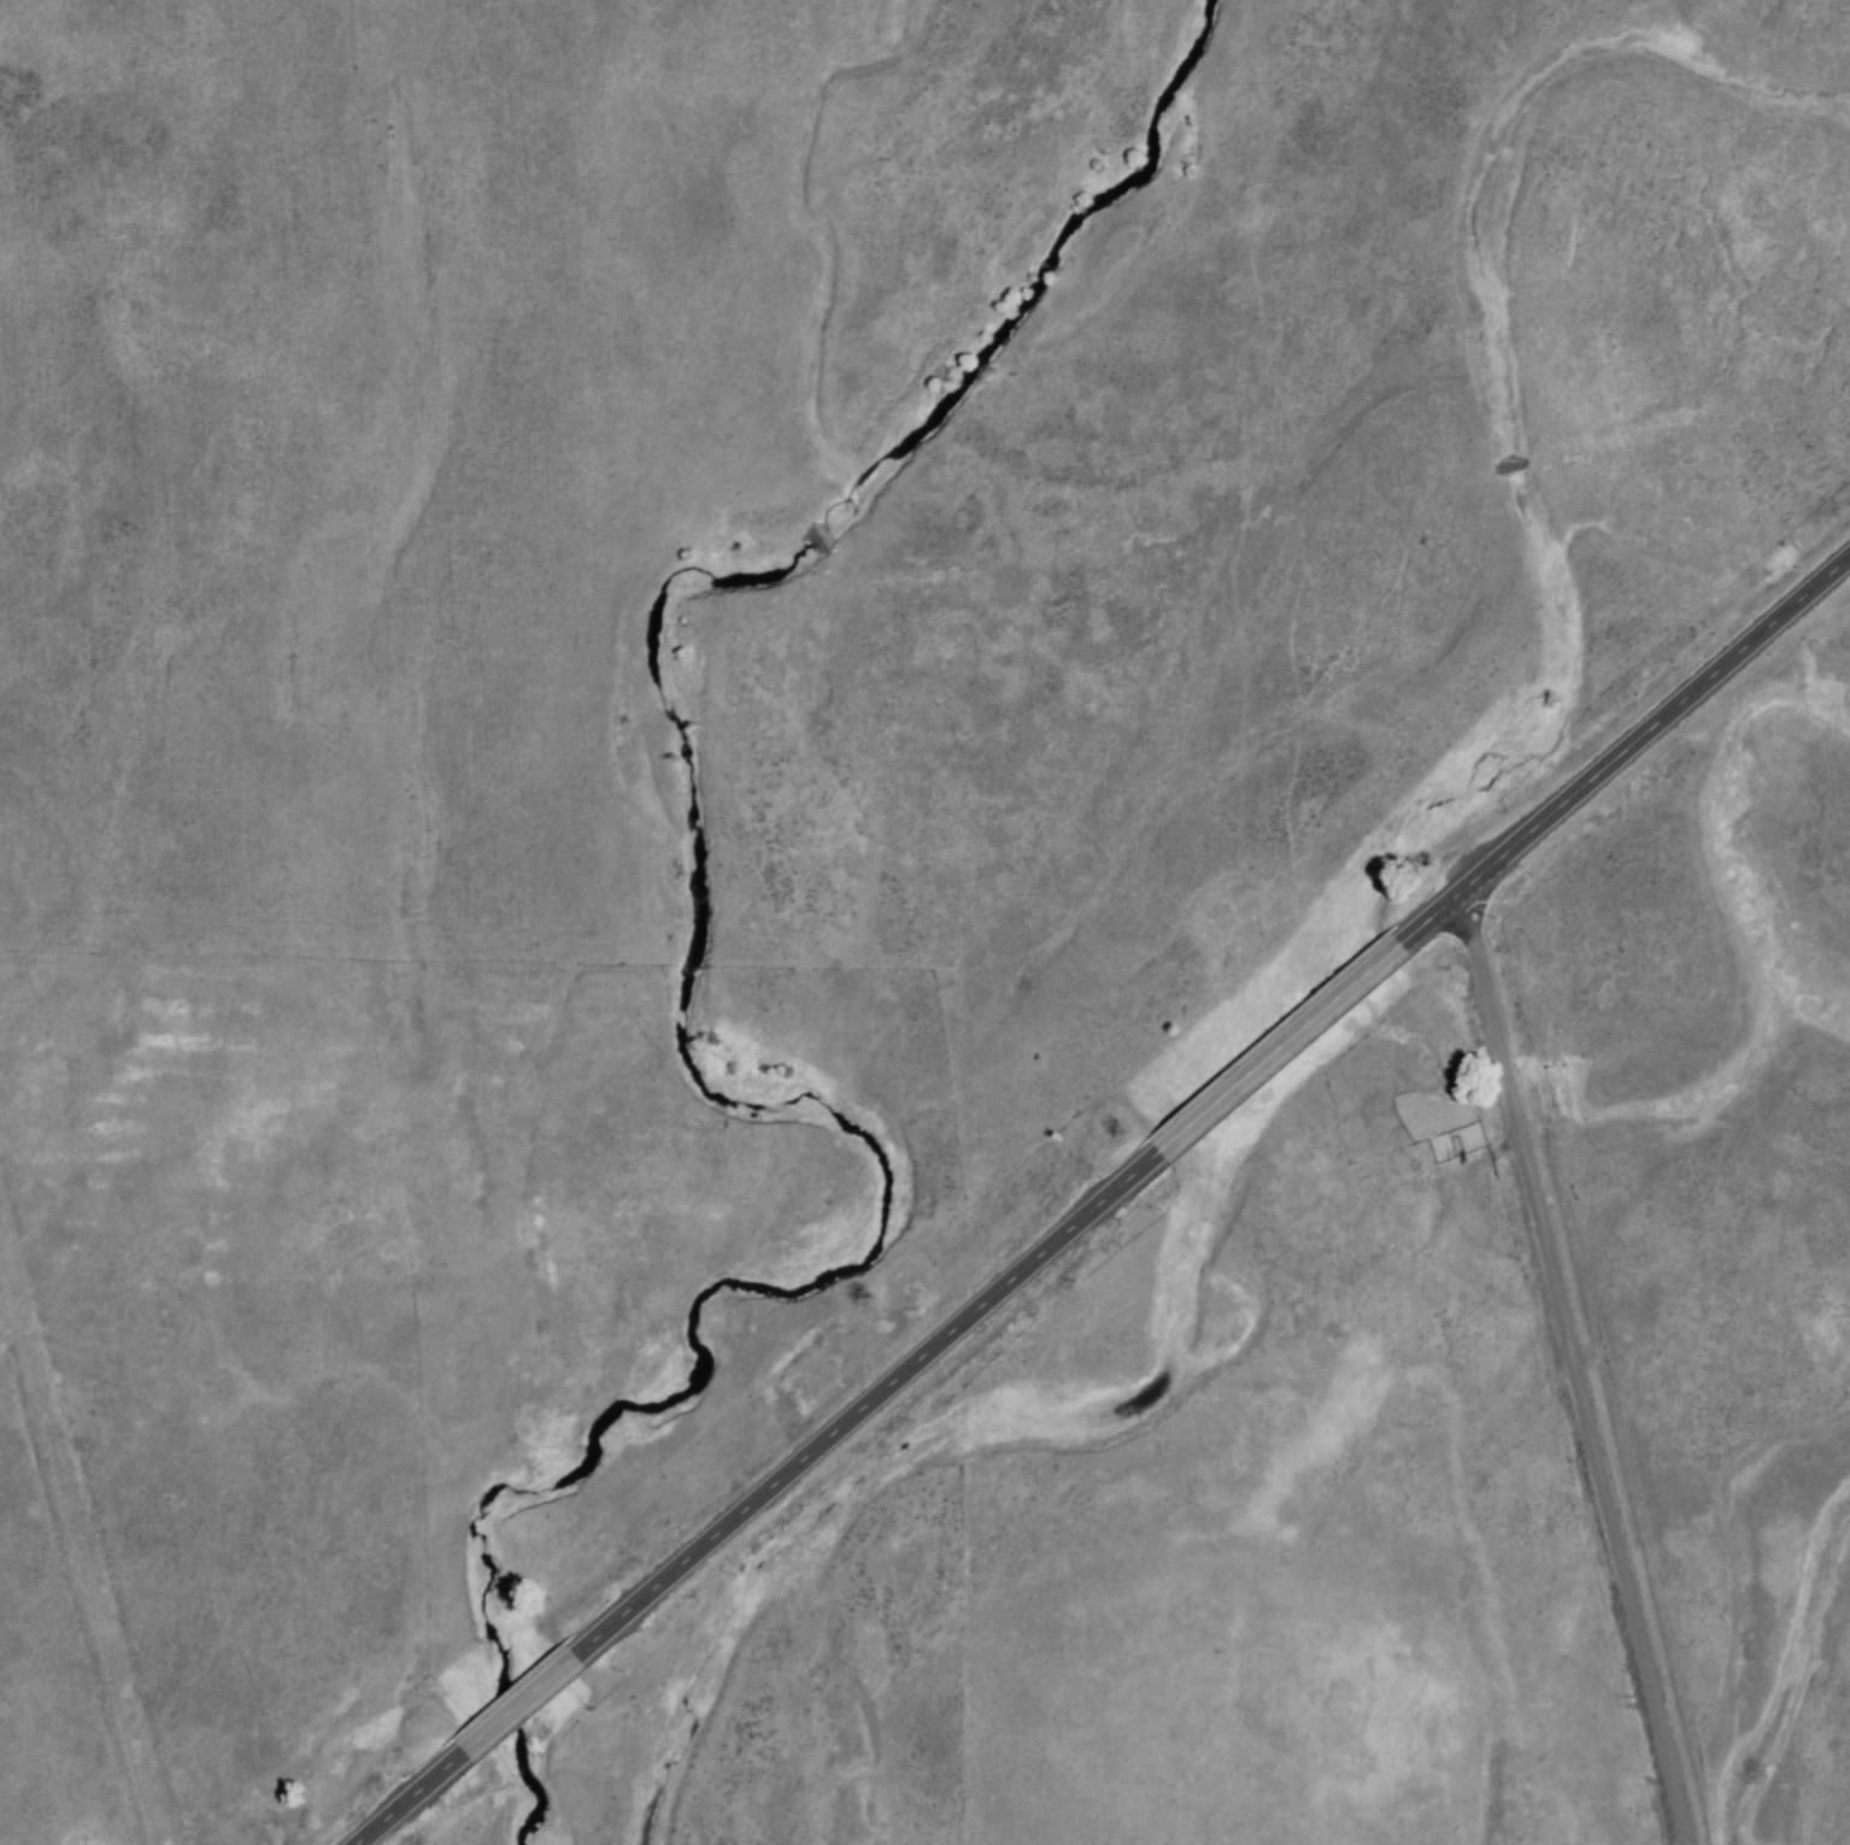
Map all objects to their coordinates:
road: (1628, 753)
road: (1280, 1050)
road: (1497, 1147)
road: (1586, 1363)
road: (868, 1408)
road: (74, 1610)
road: (518, 1706)
road: (406, 1802)

